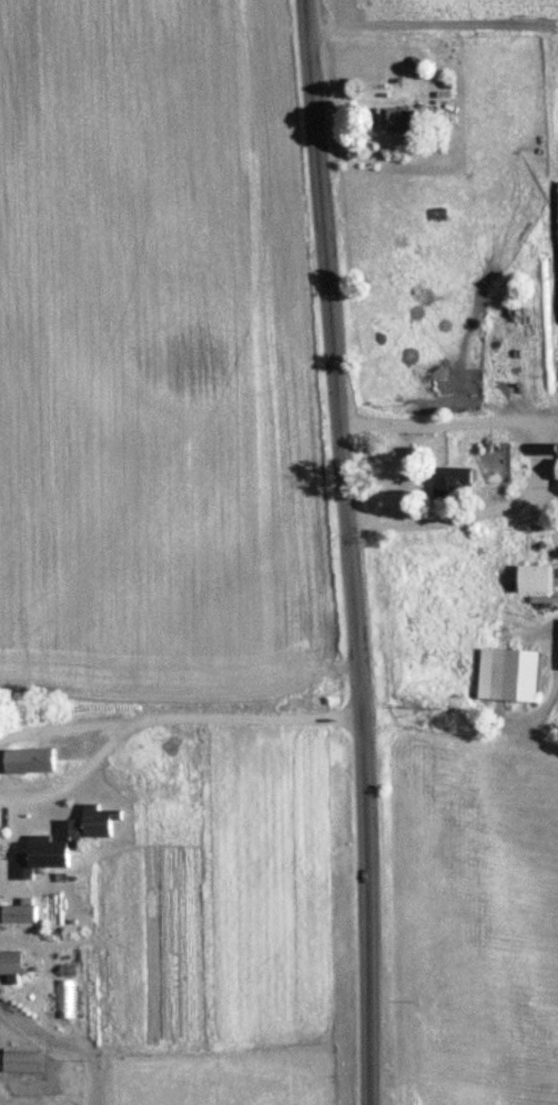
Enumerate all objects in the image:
building: (395, 121)
road: (548, 454)
building: (556, 471)
building: (450, 484)
road: (547, 511)
road: (351, 551)
building: (532, 579)
building: (513, 675)
road: (546, 709)
road: (255, 716)
road: (72, 726)
road: (459, 729)
building: (27, 760)
road: (82, 776)
building: (94, 818)
building: (47, 851)
building: (17, 913)
building: (10, 963)

